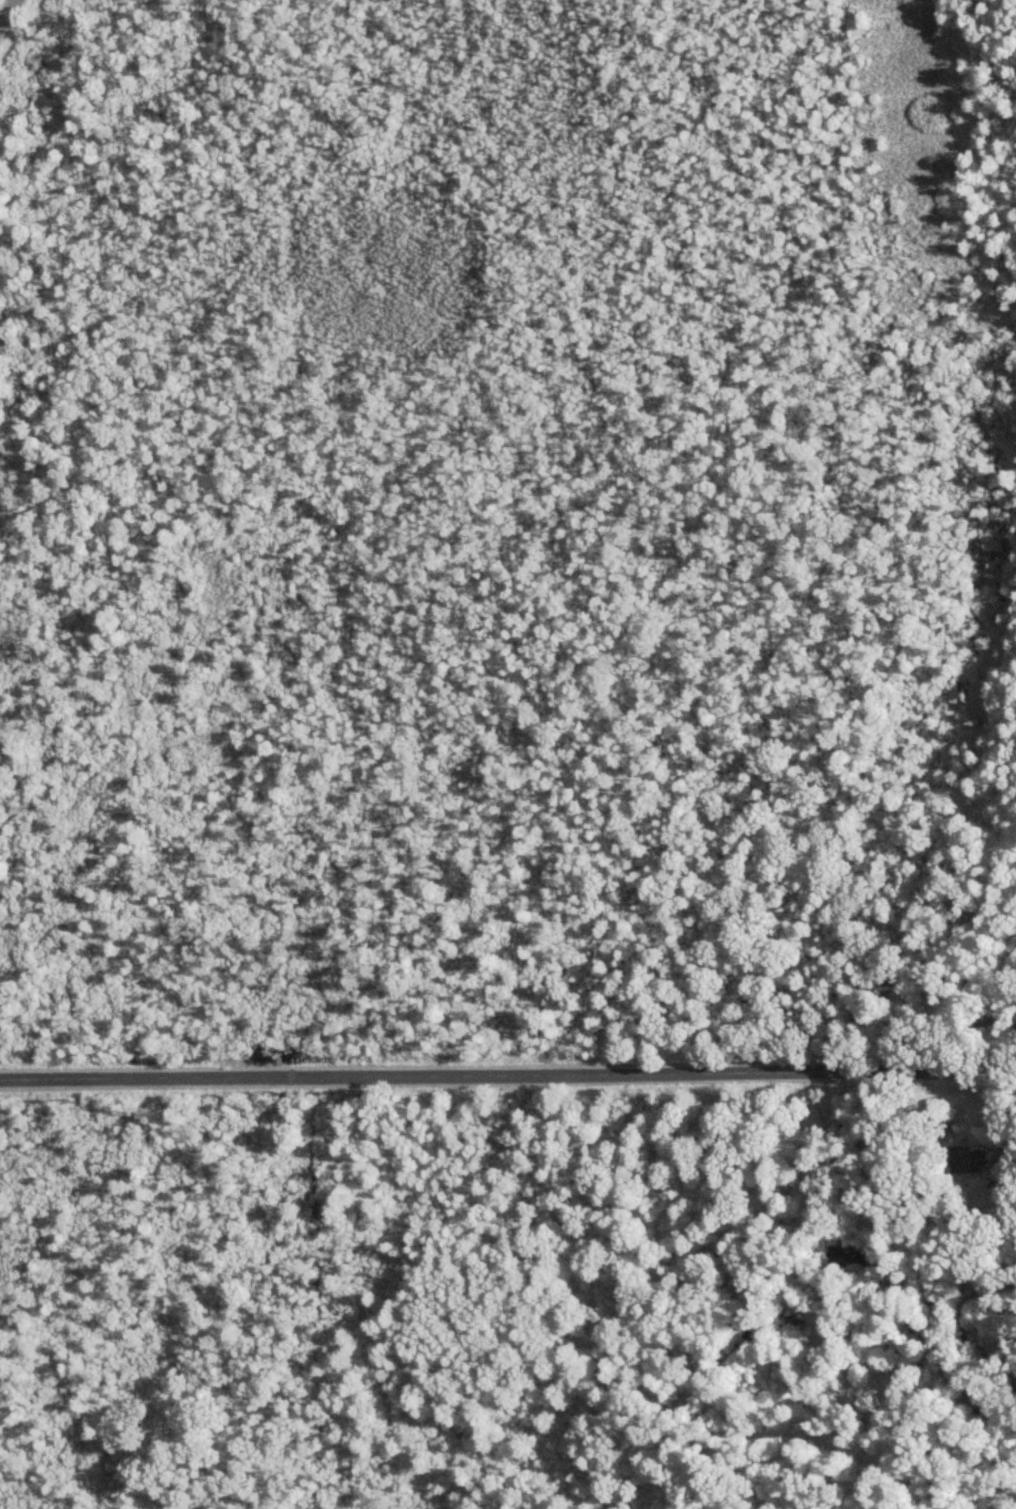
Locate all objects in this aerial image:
road: (5, 9)
road: (508, 1075)
building: (966, 1160)
building: (1002, 1172)

